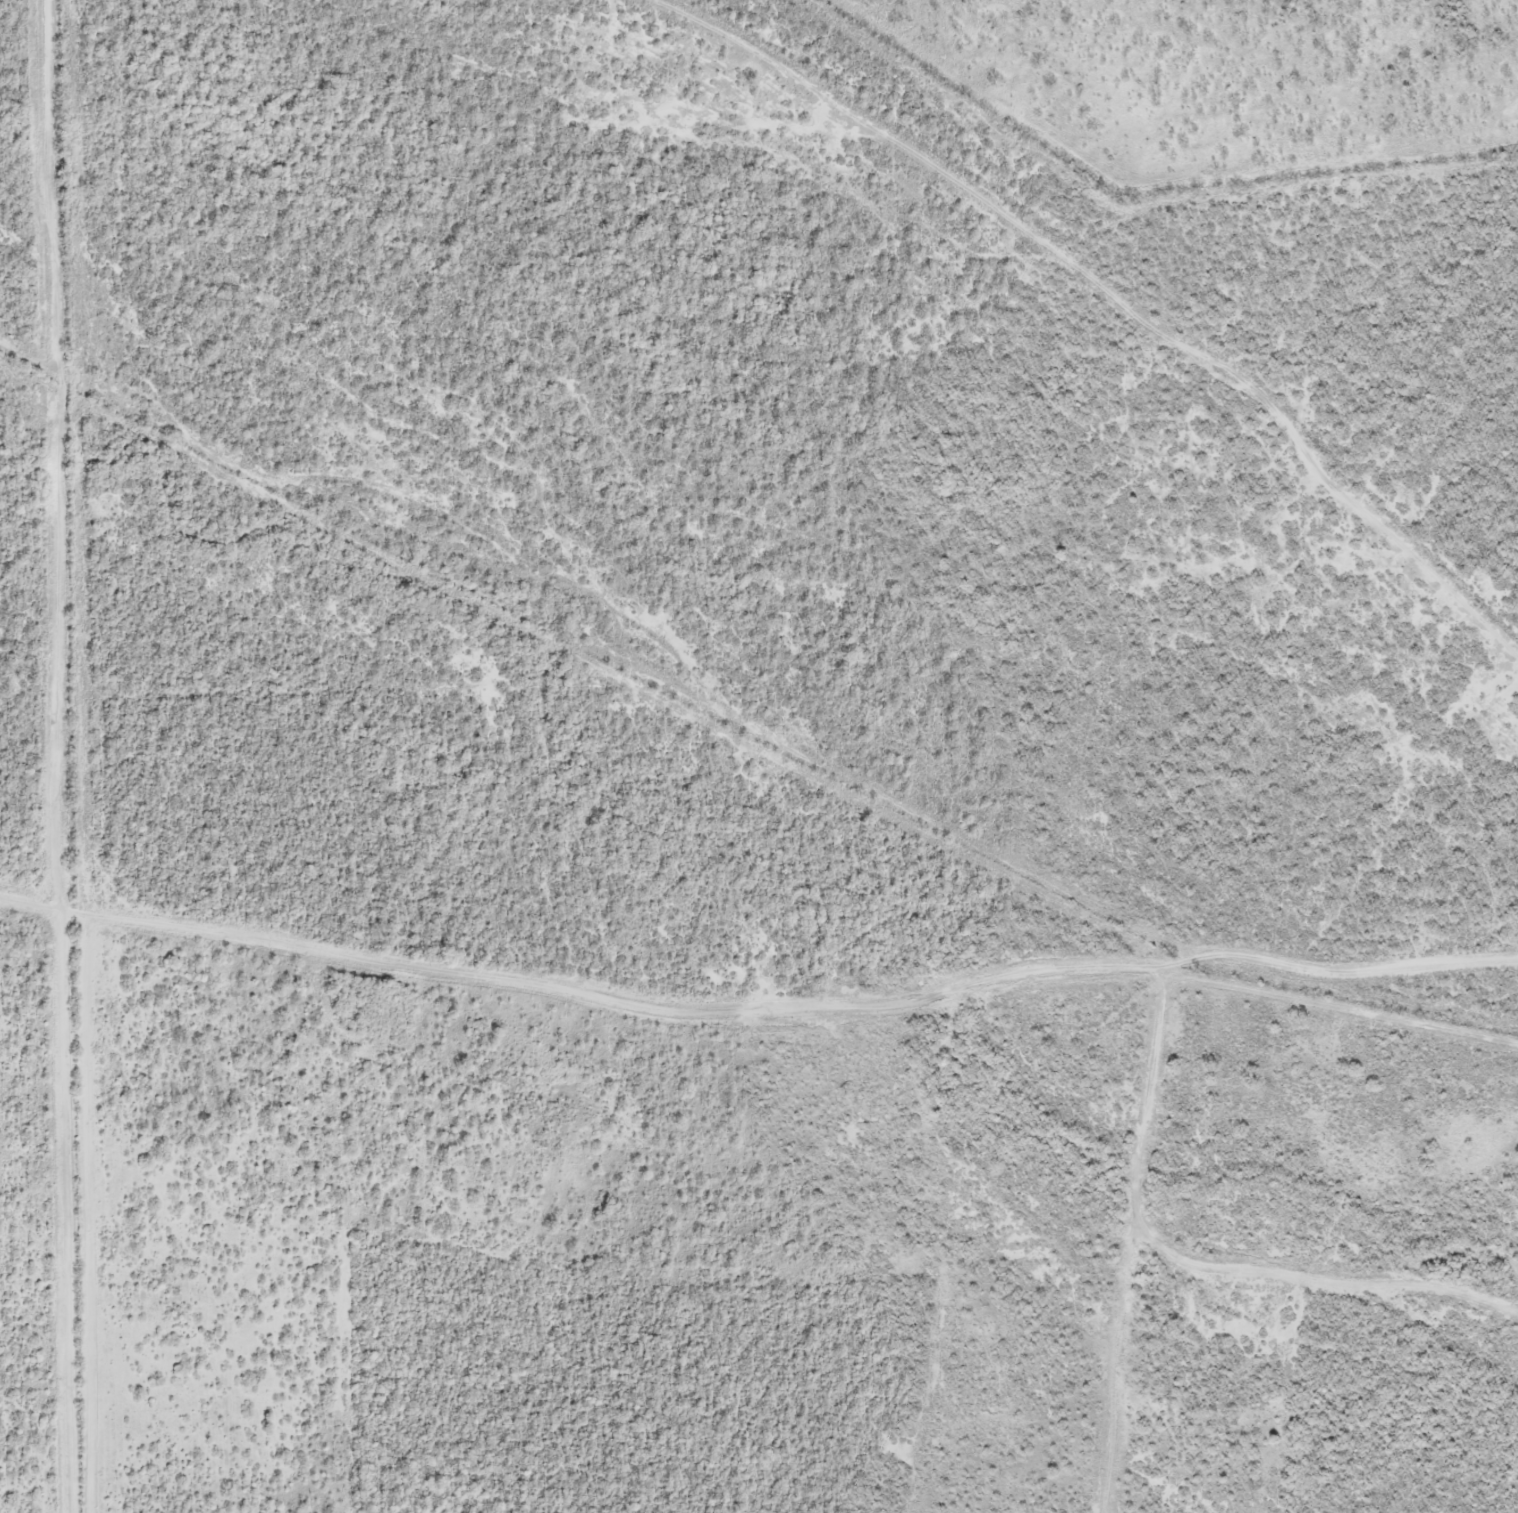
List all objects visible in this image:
road: (1123, 278)
road: (756, 1026)

